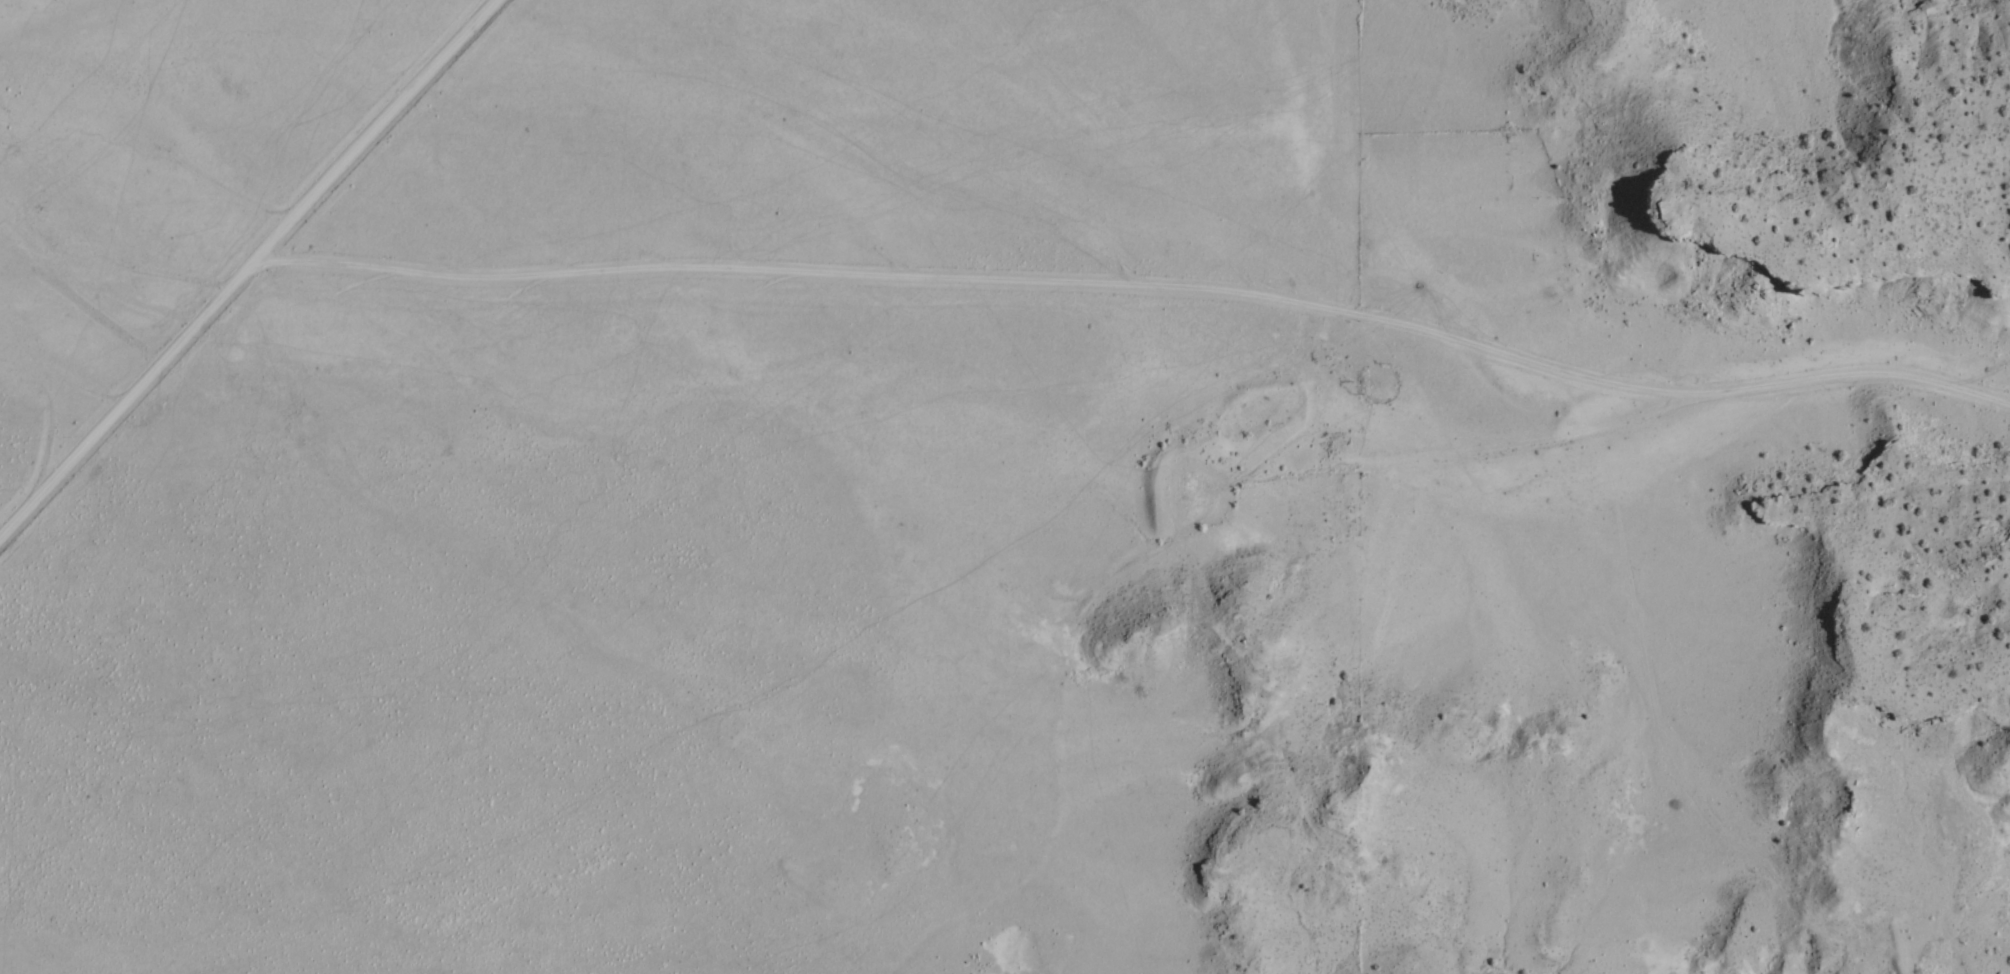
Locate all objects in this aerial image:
road: (245, 267)
road: (1138, 277)

